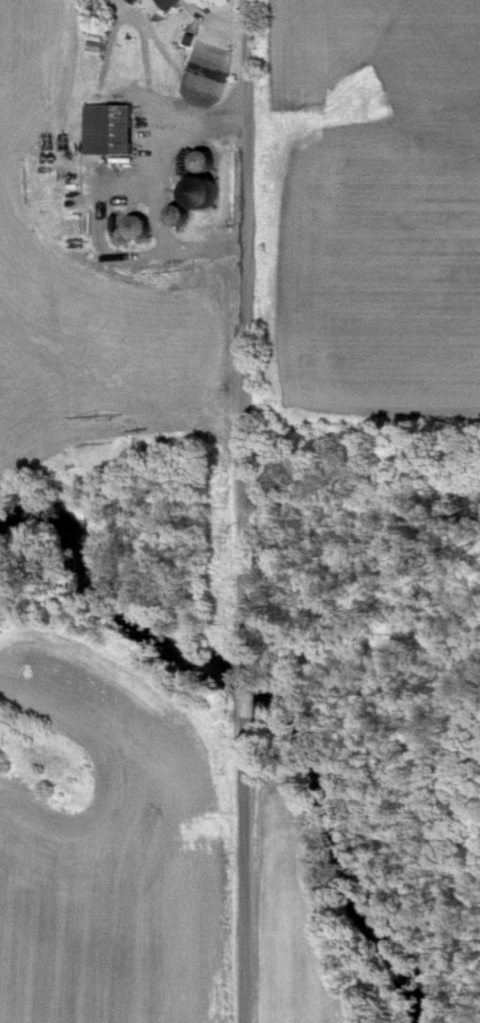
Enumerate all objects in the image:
building: (134, 2)
building: (169, 4)
building: (109, 131)
building: (200, 196)
road: (245, 323)
road: (246, 697)
road: (248, 885)

